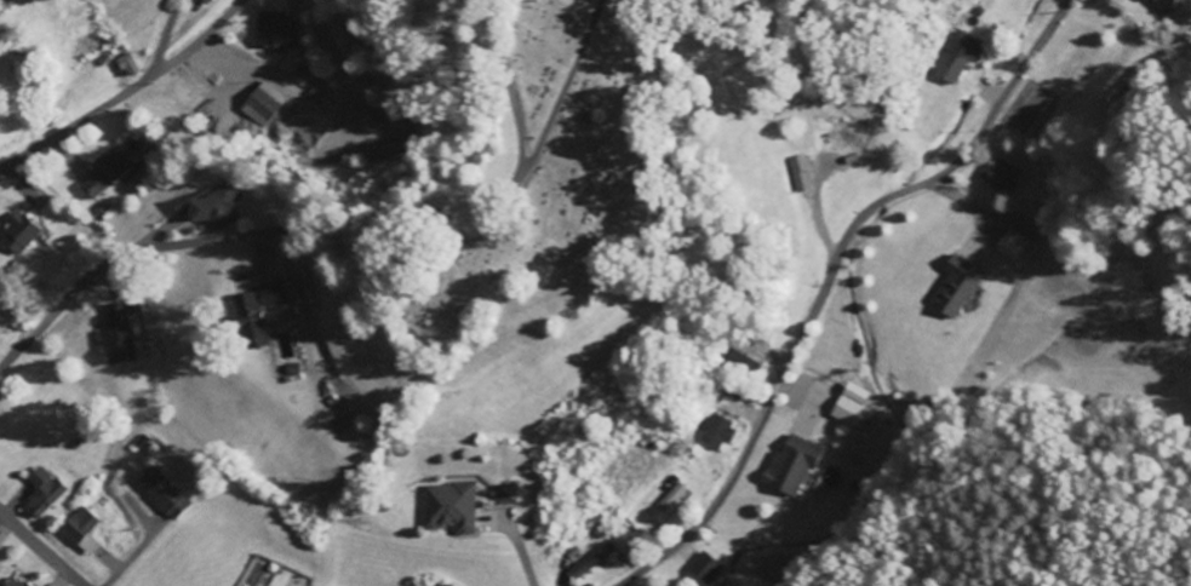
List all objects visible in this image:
building: (1172, 1)
building: (1161, 5)
building: (274, 30)
road: (165, 39)
building: (956, 58)
building: (127, 64)
road: (562, 88)
road: (125, 92)
building: (260, 103)
building: (103, 173)
building: (801, 173)
building: (1001, 176)
building: (218, 206)
road: (332, 224)
building: (18, 232)
building: (1012, 245)
road: (828, 278)
building: (956, 286)
building: (254, 312)
building: (115, 335)
building: (743, 364)
building: (849, 403)
building: (716, 432)
building: (790, 465)
building: (41, 492)
building: (161, 493)
building: (505, 494)
building: (669, 499)
building: (448, 506)
building: (80, 530)
road: (41, 548)
building: (591, 559)
building: (703, 568)
building: (11, 581)

